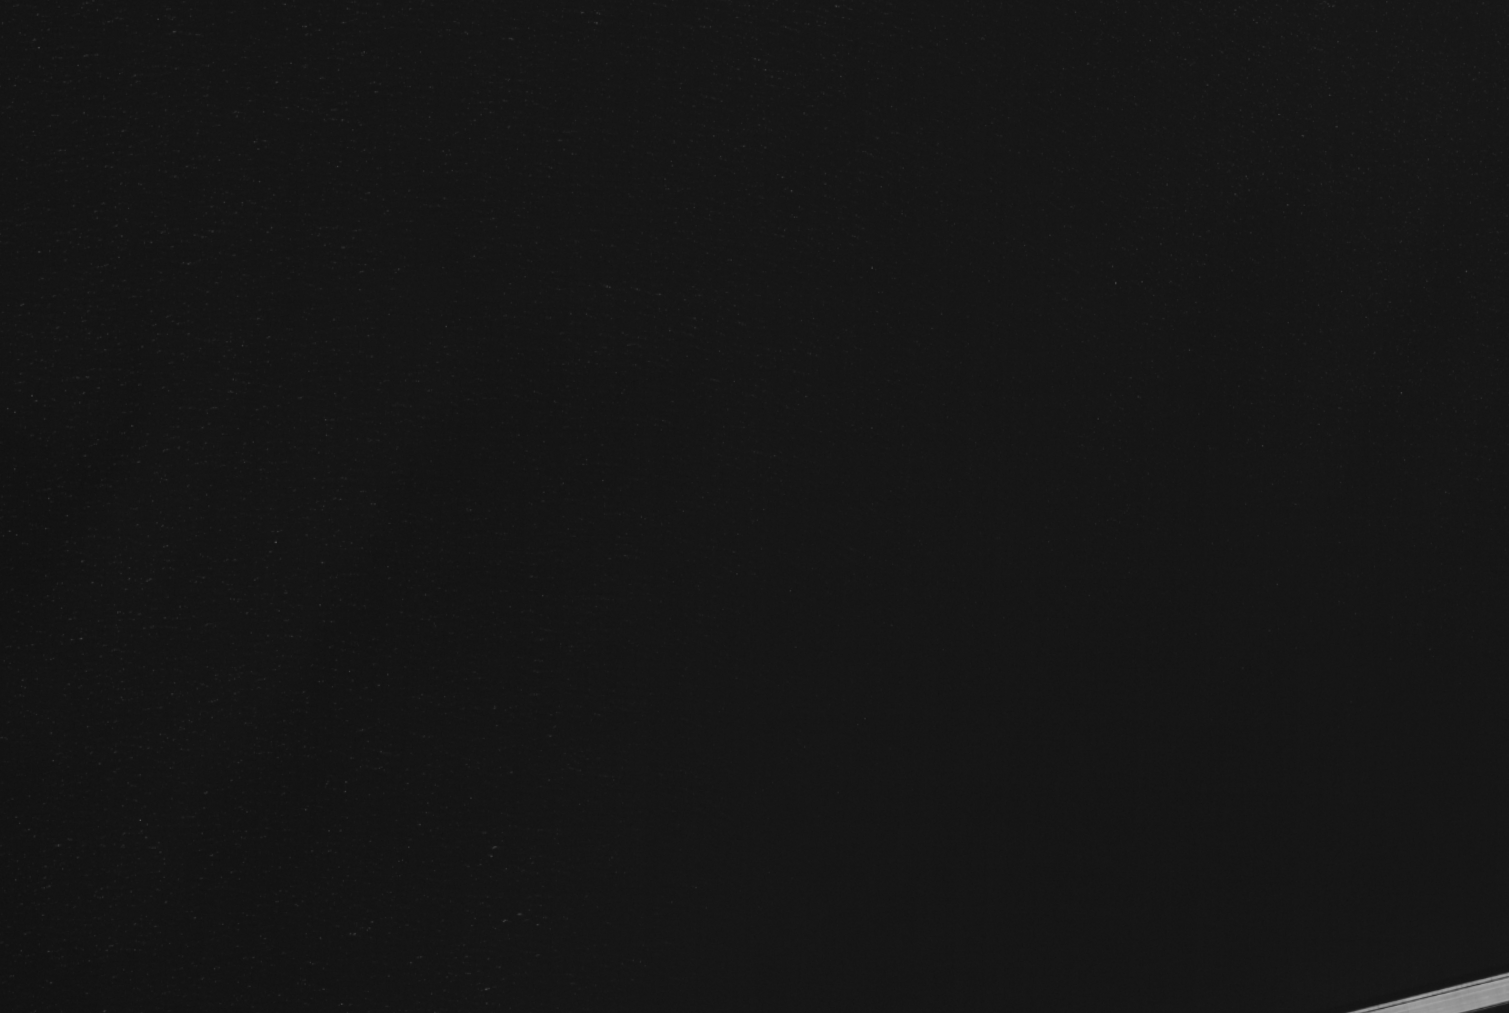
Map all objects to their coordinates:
road: (1443, 996)
road: (1460, 1001)

